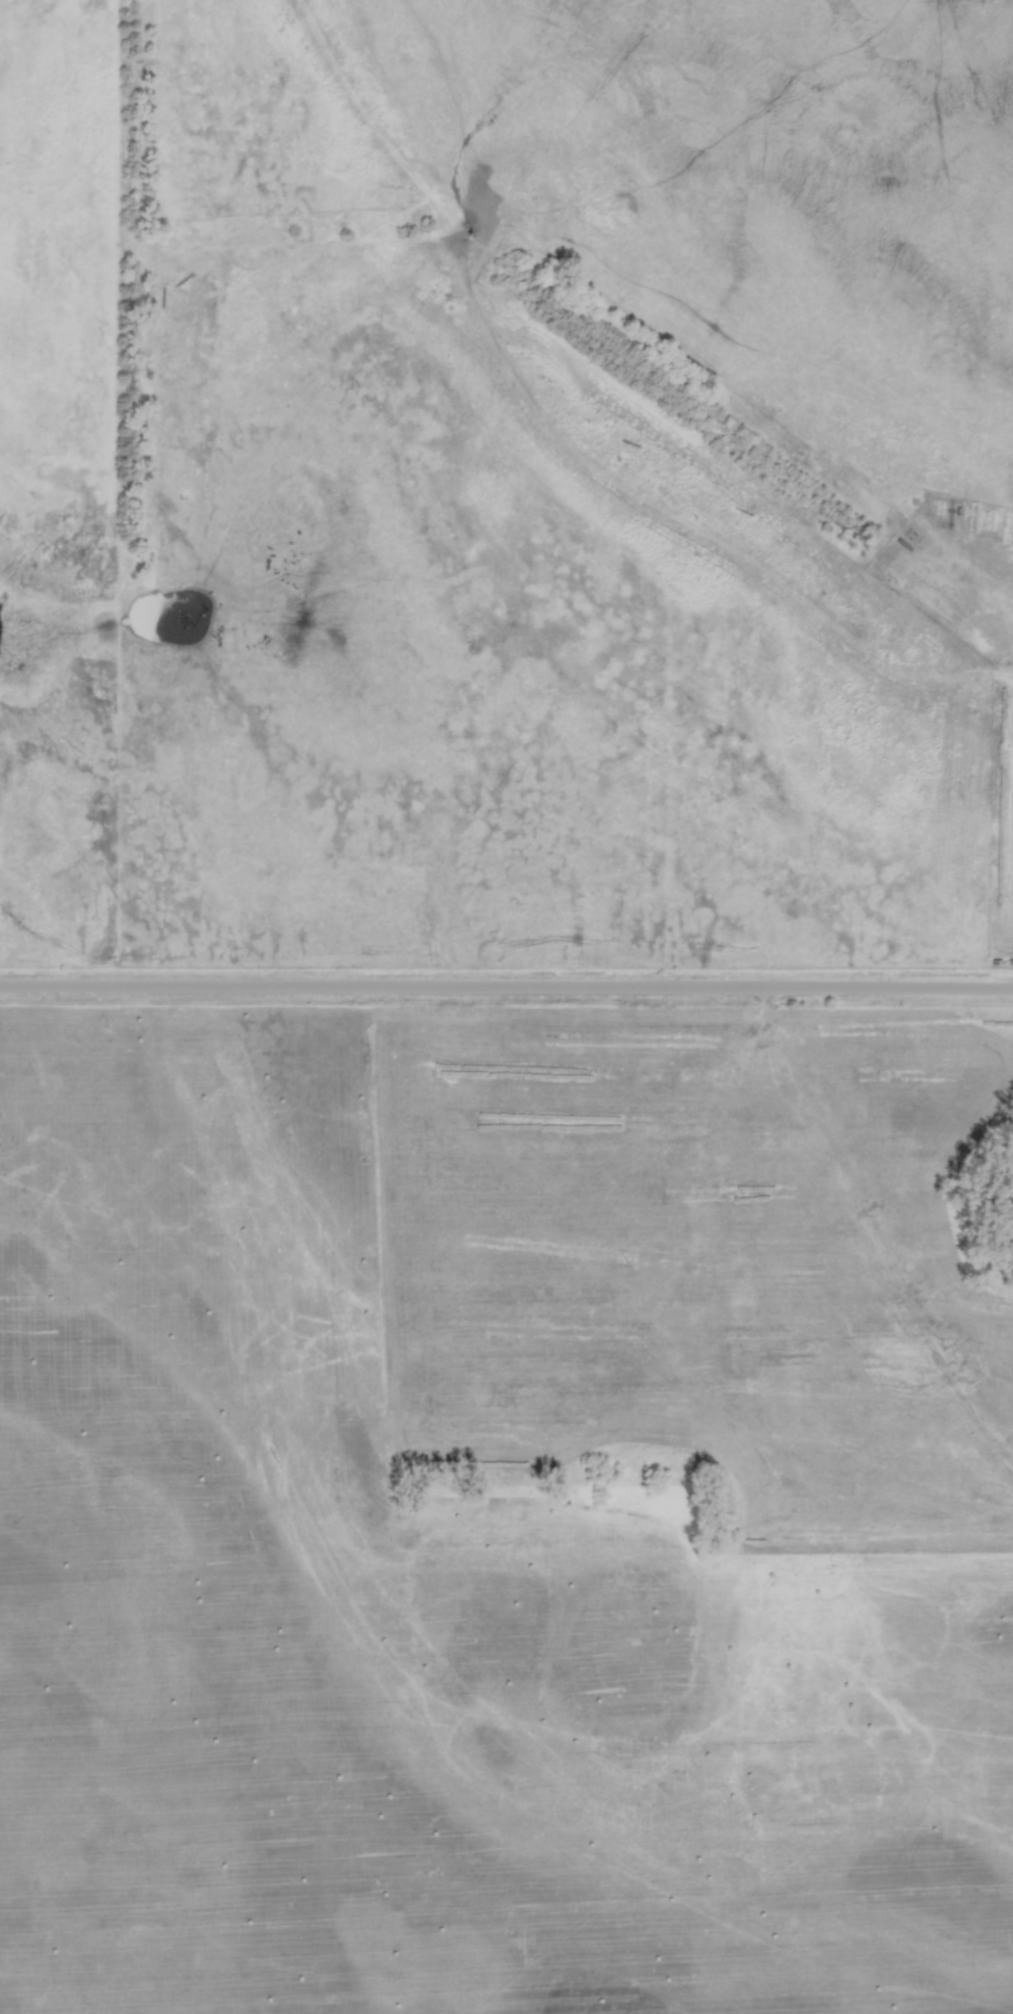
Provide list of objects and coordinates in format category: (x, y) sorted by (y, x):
road: (506, 992)

